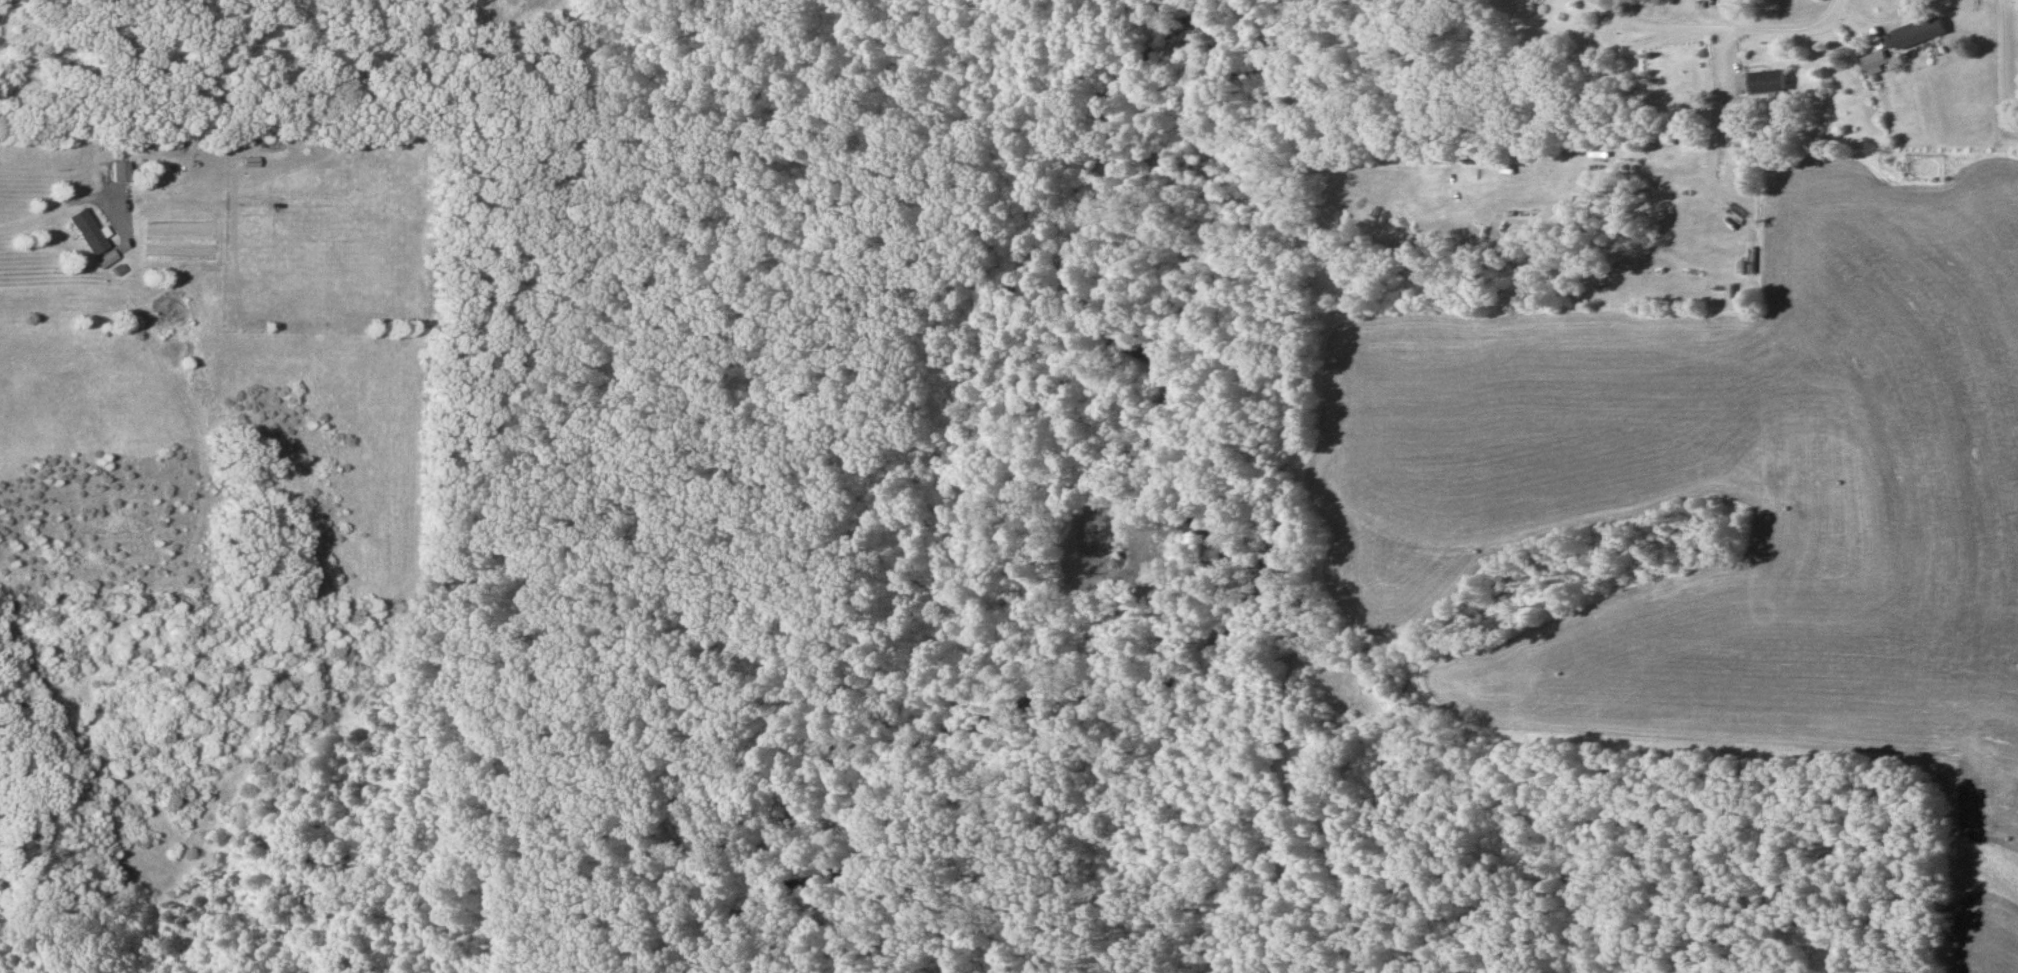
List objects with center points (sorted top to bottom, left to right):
road: (1868, 15)
road: (1729, 20)
building: (1920, 32)
road: (2003, 62)
building: (1768, 80)
building: (117, 171)
road: (13, 225)
building: (82, 231)

